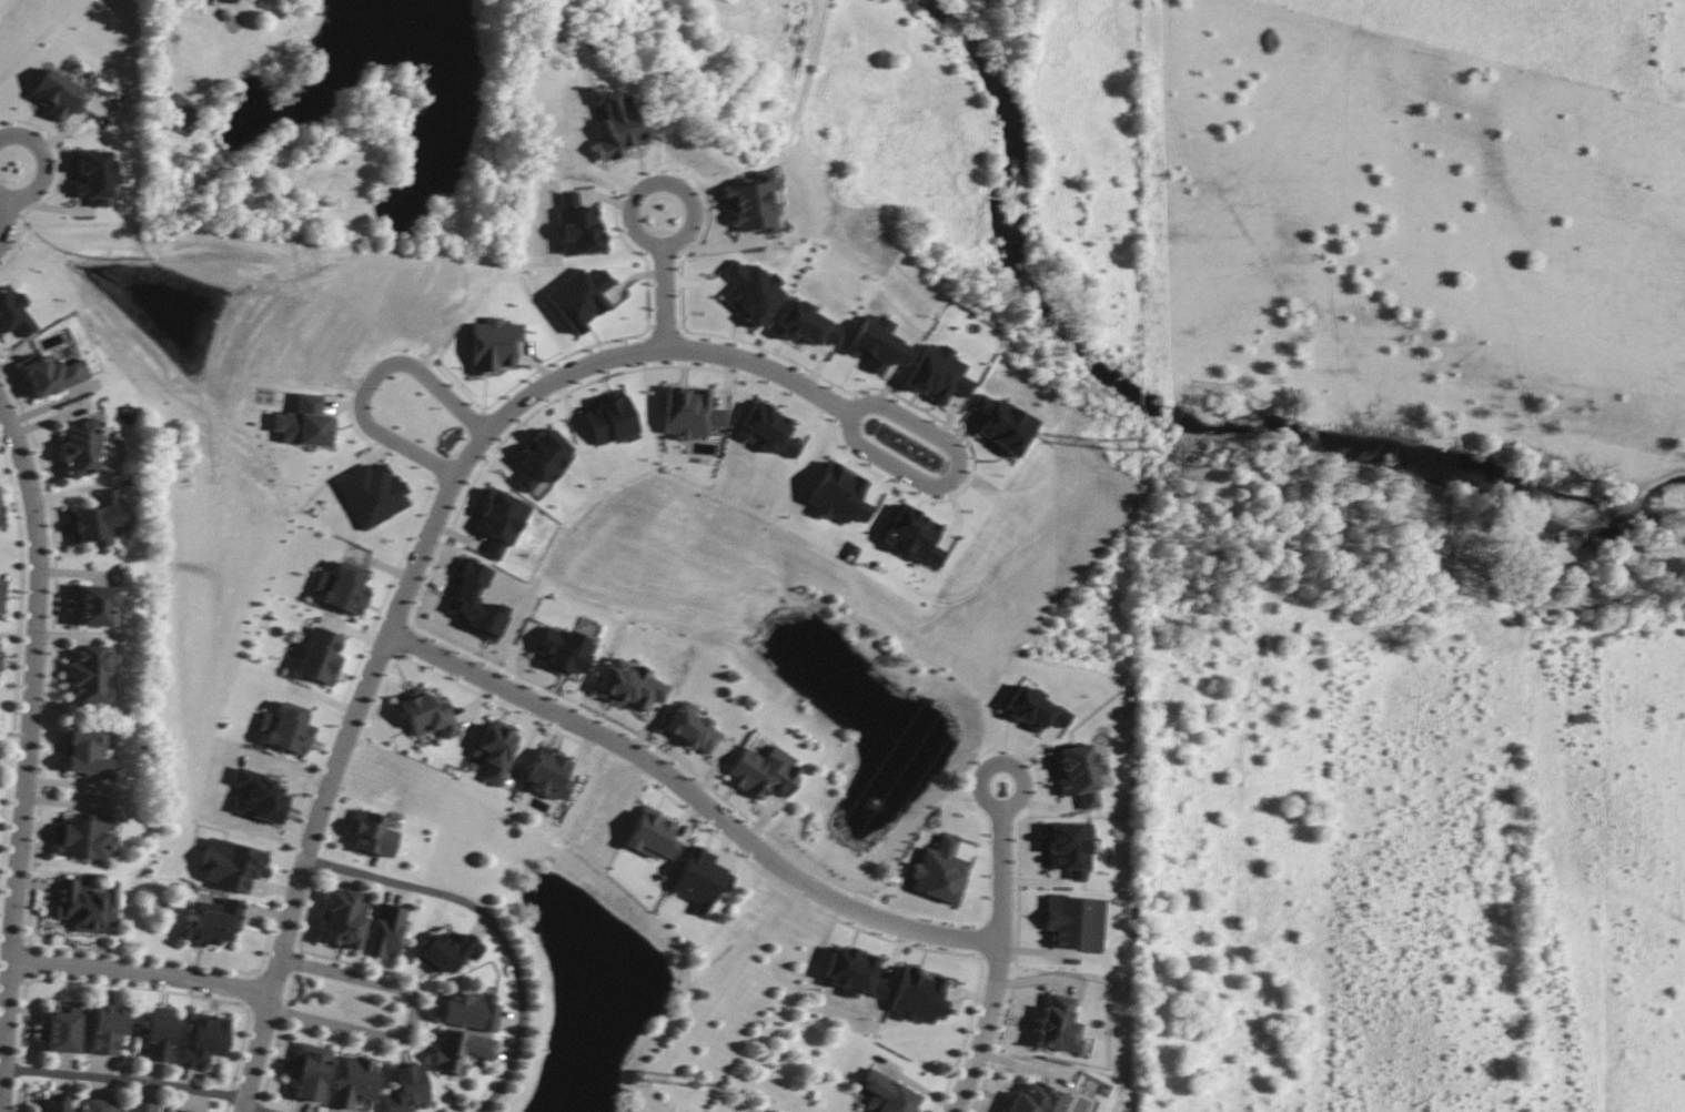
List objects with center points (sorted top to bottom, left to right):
building: (231, 0)
building: (57, 94)
building: (181, 111)
building: (616, 123)
road: (38, 160)
building: (94, 176)
road: (609, 178)
road: (4, 196)
building: (749, 204)
road: (3, 211)
road: (664, 280)
building: (14, 313)
building: (806, 324)
building: (493, 344)
building: (52, 375)
road: (547, 382)
road: (371, 383)
building: (690, 413)
building: (611, 419)
building: (304, 423)
power tower: (1113, 446)
building: (80, 447)
road: (955, 472)
building: (371, 494)
building: (0, 519)
building: (97, 519)
building: (342, 588)
building: (1, 595)
building: (475, 600)
building: (93, 605)
building: (564, 650)
building: (320, 656)
building: (90, 675)
building: (630, 685)
building: (426, 715)
building: (285, 728)
building: (690, 728)
road: (605, 736)
road: (34, 746)
building: (494, 750)
building: (85, 752)
building: (764, 771)
building: (549, 774)
building: (258, 797)
building: (371, 833)
building: (652, 835)
building: (83, 838)
road: (998, 862)
building: (231, 865)
building: (700, 878)
building: (85, 904)
building: (343, 920)
building: (213, 921)
road: (496, 926)
building: (386, 931)
building: (447, 952)
road: (147, 972)
road: (276, 984)
building: (470, 1010)
road: (416, 1019)
building: (1057, 1024)
building: (105, 1028)
building: (61, 1031)
building: (159, 1033)
building: (204, 1040)
road: (979, 1042)
building: (460, 1050)
building: (309, 1071)
power tower: (686, 1078)
road: (125, 1080)
building: (353, 1081)
building: (406, 1089)
building: (886, 1093)
building: (1036, 1100)
building: (58, 1103)
building: (99, 1105)
building: (140, 1106)
road: (255, 1110)
building: (186, 1111)

